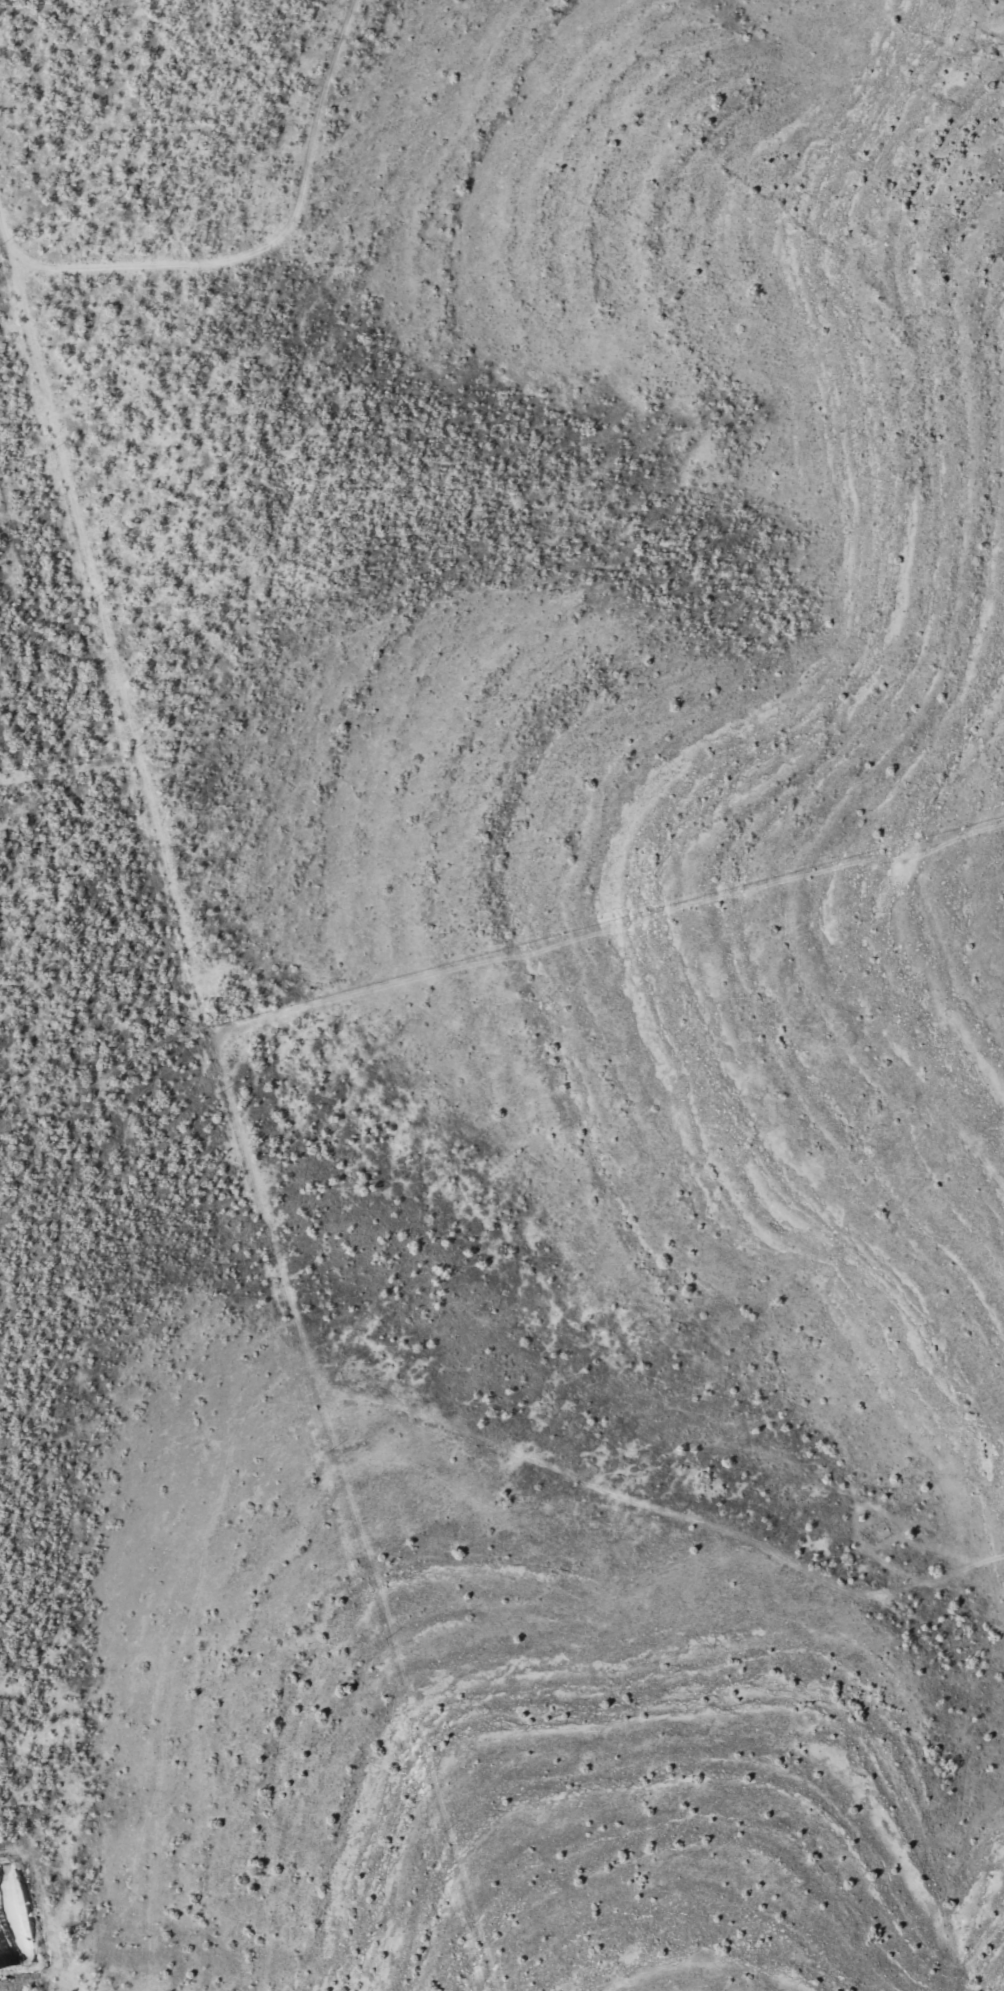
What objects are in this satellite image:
road: (254, 257)

